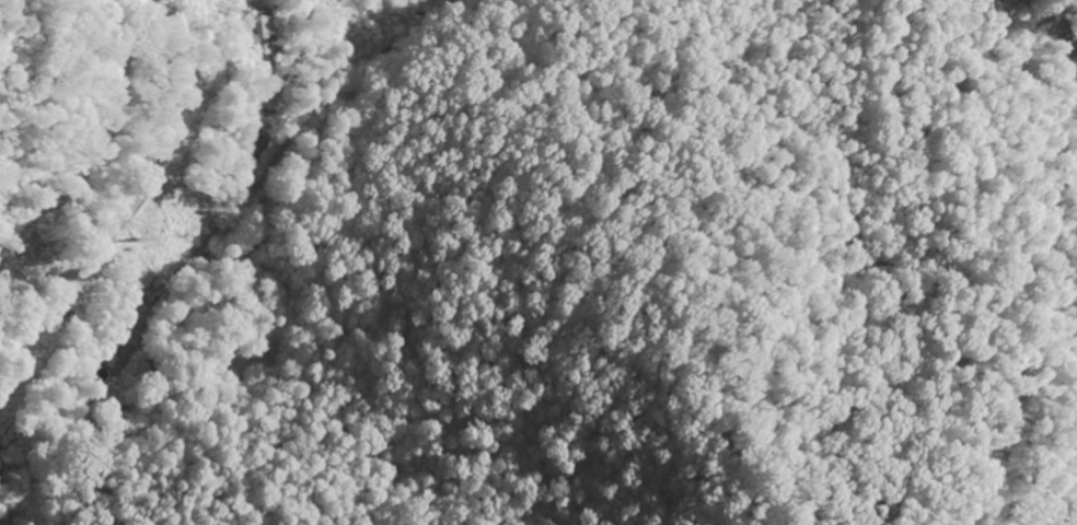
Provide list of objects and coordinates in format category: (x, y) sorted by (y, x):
road: (147, 188)

